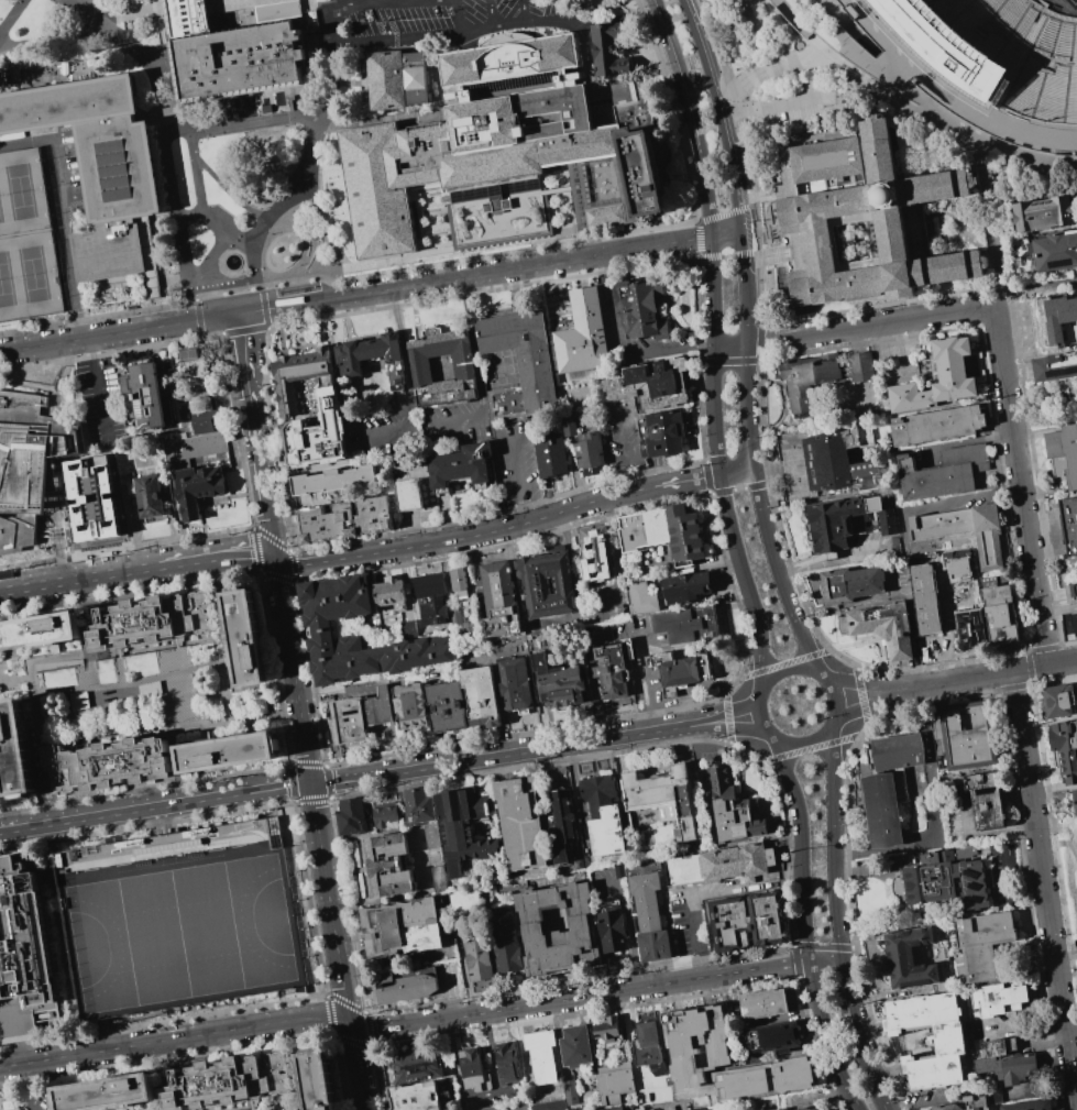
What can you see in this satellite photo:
road: (245, 0)
road: (369, 1)
park: (1075, 1)
road: (332, 2)
road: (365, 2)
road: (226, 3)
road: (317, 3)
road: (162, 8)
road: (250, 8)
road: (140, 11)
road: (524, 13)
road: (492, 14)
road: (460, 15)
road: (108, 17)
road: (13, 19)
road: (594, 19)
road: (793, 19)
parking lot: (440, 20)
road: (158, 22)
road: (493, 29)
road: (791, 29)
road: (397, 37)
road: (319, 40)
road: (877, 40)
road: (59, 41)
road: (854, 42)
road: (155, 45)
road: (716, 46)
road: (815, 47)
building: (230, 50)
building: (608, 50)
stadium: (999, 50)
building: (998, 51)
road: (825, 52)
road: (329, 58)
road: (810, 58)
road: (827, 61)
road: (783, 64)
road: (768, 69)
building: (397, 77)
road: (894, 77)
road: (752, 78)
road: (737, 90)
road: (674, 107)
road: (930, 107)
road: (767, 108)
parking lot: (784, 108)
road: (718, 114)
road: (696, 116)
road: (936, 119)
road: (327, 121)
road: (242, 123)
road: (165, 131)
road: (1011, 131)
building: (474, 135)
road: (744, 144)
road: (1031, 157)
building: (98, 164)
road: (325, 168)
building: (626, 172)
road: (198, 173)
road: (232, 191)
park: (20, 194)
road: (772, 194)
road: (754, 197)
road: (766, 198)
road: (290, 200)
road: (314, 201)
road: (747, 202)
road: (763, 211)
road: (348, 212)
road: (722, 213)
building: (1046, 213)
park: (1, 215)
road: (62, 216)
building: (490, 217)
road: (164, 218)
road: (998, 219)
road: (145, 221)
building: (869, 221)
road: (221, 222)
road: (726, 235)
road: (327, 237)
road: (697, 238)
park: (24, 240)
building: (25, 240)
parking lot: (28, 241)
road: (680, 241)
road: (147, 250)
road: (738, 253)
building: (1047, 253)
road: (727, 254)
building: (147, 255)
road: (710, 255)
road: (210, 260)
fountain: (233, 262)
road: (443, 262)
park: (33, 276)
road: (172, 279)
road: (444, 279)
park: (7, 284)
road: (260, 285)
road: (1051, 288)
road: (745, 289)
road: (483, 290)
road: (195, 296)
road: (394, 296)
road: (1002, 301)
road: (263, 307)
building: (641, 310)
road: (96, 317)
building: (1056, 317)
road: (198, 318)
road: (869, 326)
road: (243, 330)
road: (121, 332)
building: (583, 336)
road: (732, 345)
road: (672, 349)
road: (110, 352)
building: (188, 353)
road: (716, 354)
building: (372, 358)
building: (520, 365)
building: (861, 367)
building: (1057, 367)
building: (464, 369)
building: (952, 369)
road: (476, 371)
building: (296, 373)
building: (193, 375)
building: (809, 377)
building: (651, 384)
road: (99, 388)
road: (408, 391)
building: (147, 395)
parking lot: (101, 404)
road: (745, 407)
building: (211, 422)
building: (570, 426)
building: (938, 426)
road: (235, 430)
building: (670, 431)
building: (320, 432)
road: (256, 437)
road: (625, 452)
building: (590, 453)
building: (1064, 454)
building: (550, 455)
building: (828, 460)
building: (26, 464)
building: (461, 465)
road: (737, 471)
building: (952, 474)
building: (332, 480)
road: (688, 480)
road: (518, 482)
building: (198, 487)
road: (1022, 487)
building: (410, 494)
building: (91, 497)
building: (150, 498)
building: (343, 519)
building: (846, 520)
building: (1070, 524)
building: (964, 530)
road: (262, 532)
building: (666, 532)
road: (466, 537)
road: (615, 538)
road: (254, 542)
road: (125, 547)
building: (596, 553)
road: (217, 558)
traffic signals: (276, 560)
building: (956, 560)
road: (776, 570)
road: (747, 576)
road: (79, 578)
building: (460, 581)
building: (547, 584)
building: (851, 584)
building: (430, 585)
building: (686, 587)
building: (392, 592)
building: (1071, 592)
road: (218, 595)
building: (642, 598)
building: (499, 600)
building: (924, 600)
parking lot: (607, 603)
building: (436, 614)
building: (1001, 614)
building: (457, 617)
road: (84, 619)
building: (154, 620)
building: (1075, 620)
building: (679, 625)
building: (323, 627)
building: (883, 627)
building: (40, 631)
building: (970, 631)
parking lot: (628, 634)
building: (245, 638)
road: (174, 642)
road: (152, 646)
road: (54, 650)
road: (117, 651)
road: (227, 661)
road: (217, 662)
road: (640, 662)
road: (1063, 662)
road: (64, 663)
road: (936, 666)
street lamp: (747, 668)
road: (787, 668)
road: (1032, 668)
road: (294, 671)
building: (683, 672)
road: (17, 675)
building: (613, 675)
road: (23, 678)
road: (88, 680)
building: (558, 682)
road: (128, 683)
building: (516, 683)
road: (926, 684)
building: (150, 688)
road: (172, 688)
road: (31, 691)
road: (131, 692)
parking lot: (658, 692)
road: (35, 693)
road: (222, 693)
road: (838, 694)
building: (482, 696)
road: (91, 699)
building: (79, 700)
building: (1058, 700)
road: (133, 702)
building: (448, 706)
building: (411, 707)
road: (284, 713)
building: (363, 715)
road: (757, 715)
road: (243, 718)
road: (205, 723)
road: (188, 732)
road: (204, 733)
road: (144, 735)
building: (968, 735)
road: (807, 747)
building: (17, 748)
road: (535, 750)
building: (899, 751)
building: (227, 752)
building: (1065, 752)
building: (110, 766)
traffic signals: (311, 783)
parking lot: (1, 791)
building: (661, 799)
building: (1075, 799)
building: (990, 800)
building: (418, 804)
road: (155, 805)
building: (734, 809)
building: (882, 811)
road: (933, 811)
road: (50, 814)
building: (386, 815)
building: (352, 816)
building: (603, 816)
road: (160, 820)
building: (523, 823)
building: (563, 824)
building: (463, 832)
building: (433, 836)
road: (834, 846)
road: (803, 849)
building: (723, 864)
building: (388, 865)
building: (948, 884)
road: (1045, 886)
road: (710, 894)
road: (330, 903)
building: (175, 917)
parking lot: (175, 917)
building: (650, 917)
building: (531, 921)
building: (749, 922)
park: (175, 923)
building: (402, 927)
building: (613, 931)
building: (471, 937)
building: (505, 938)
road: (58, 939)
building: (983, 943)
building: (25, 954)
road: (1066, 955)
building: (909, 959)
road: (826, 960)
building: (405, 988)
road: (614, 991)
building: (998, 997)
building: (763, 1004)
road: (1070, 1008)
traffic signals: (350, 1023)
road: (383, 1027)
building: (608, 1029)
road: (825, 1032)
road: (107, 1033)
road: (858, 1036)
building: (772, 1037)
building: (930, 1037)
road: (175, 1038)
building: (575, 1046)
building: (695, 1046)
building: (649, 1048)
building: (542, 1056)
road: (293, 1059)
building: (507, 1064)
building: (1005, 1064)
building: (418, 1065)
road: (358, 1066)
building: (474, 1070)
road: (158, 1076)
building: (763, 1079)
building: (319, 1080)
building: (230, 1081)
building: (615, 1082)
road: (30, 1087)
building: (109, 1093)
building: (415, 1097)
building: (993, 1097)
parking lot: (35, 1098)
building: (562, 1099)
road: (305, 1102)
road: (249, 1104)
road: (292, 1104)
road: (856, 1104)
building: (1029, 1104)
building: (508, 1106)
building: (964, 1106)
road: (235, 1107)
road: (128, 1108)
road: (253, 1108)
building: (612, 1108)
road: (250, 1109)
building: (707, 1109)
building: (778, 1109)

